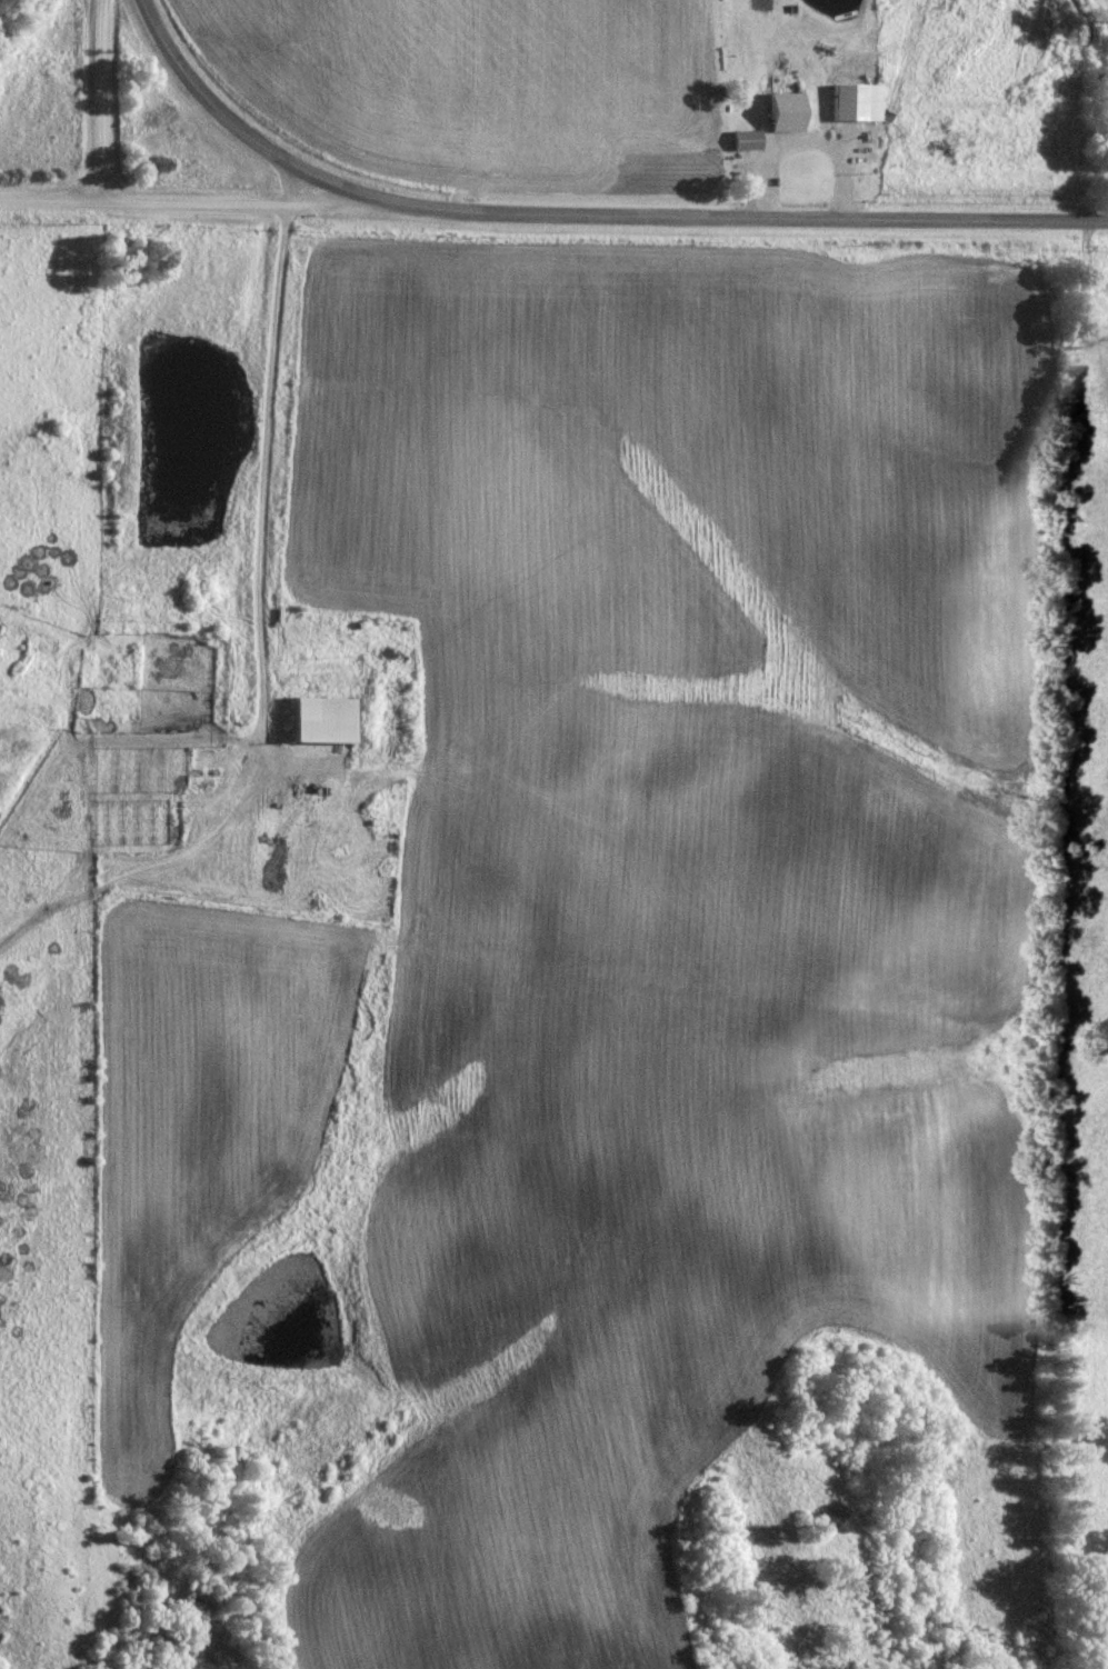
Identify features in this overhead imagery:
road: (93, 98)
building: (849, 101)
building: (741, 139)
building: (783, 161)
road: (47, 196)
road: (227, 197)
road: (596, 212)
road: (278, 649)
building: (317, 718)

